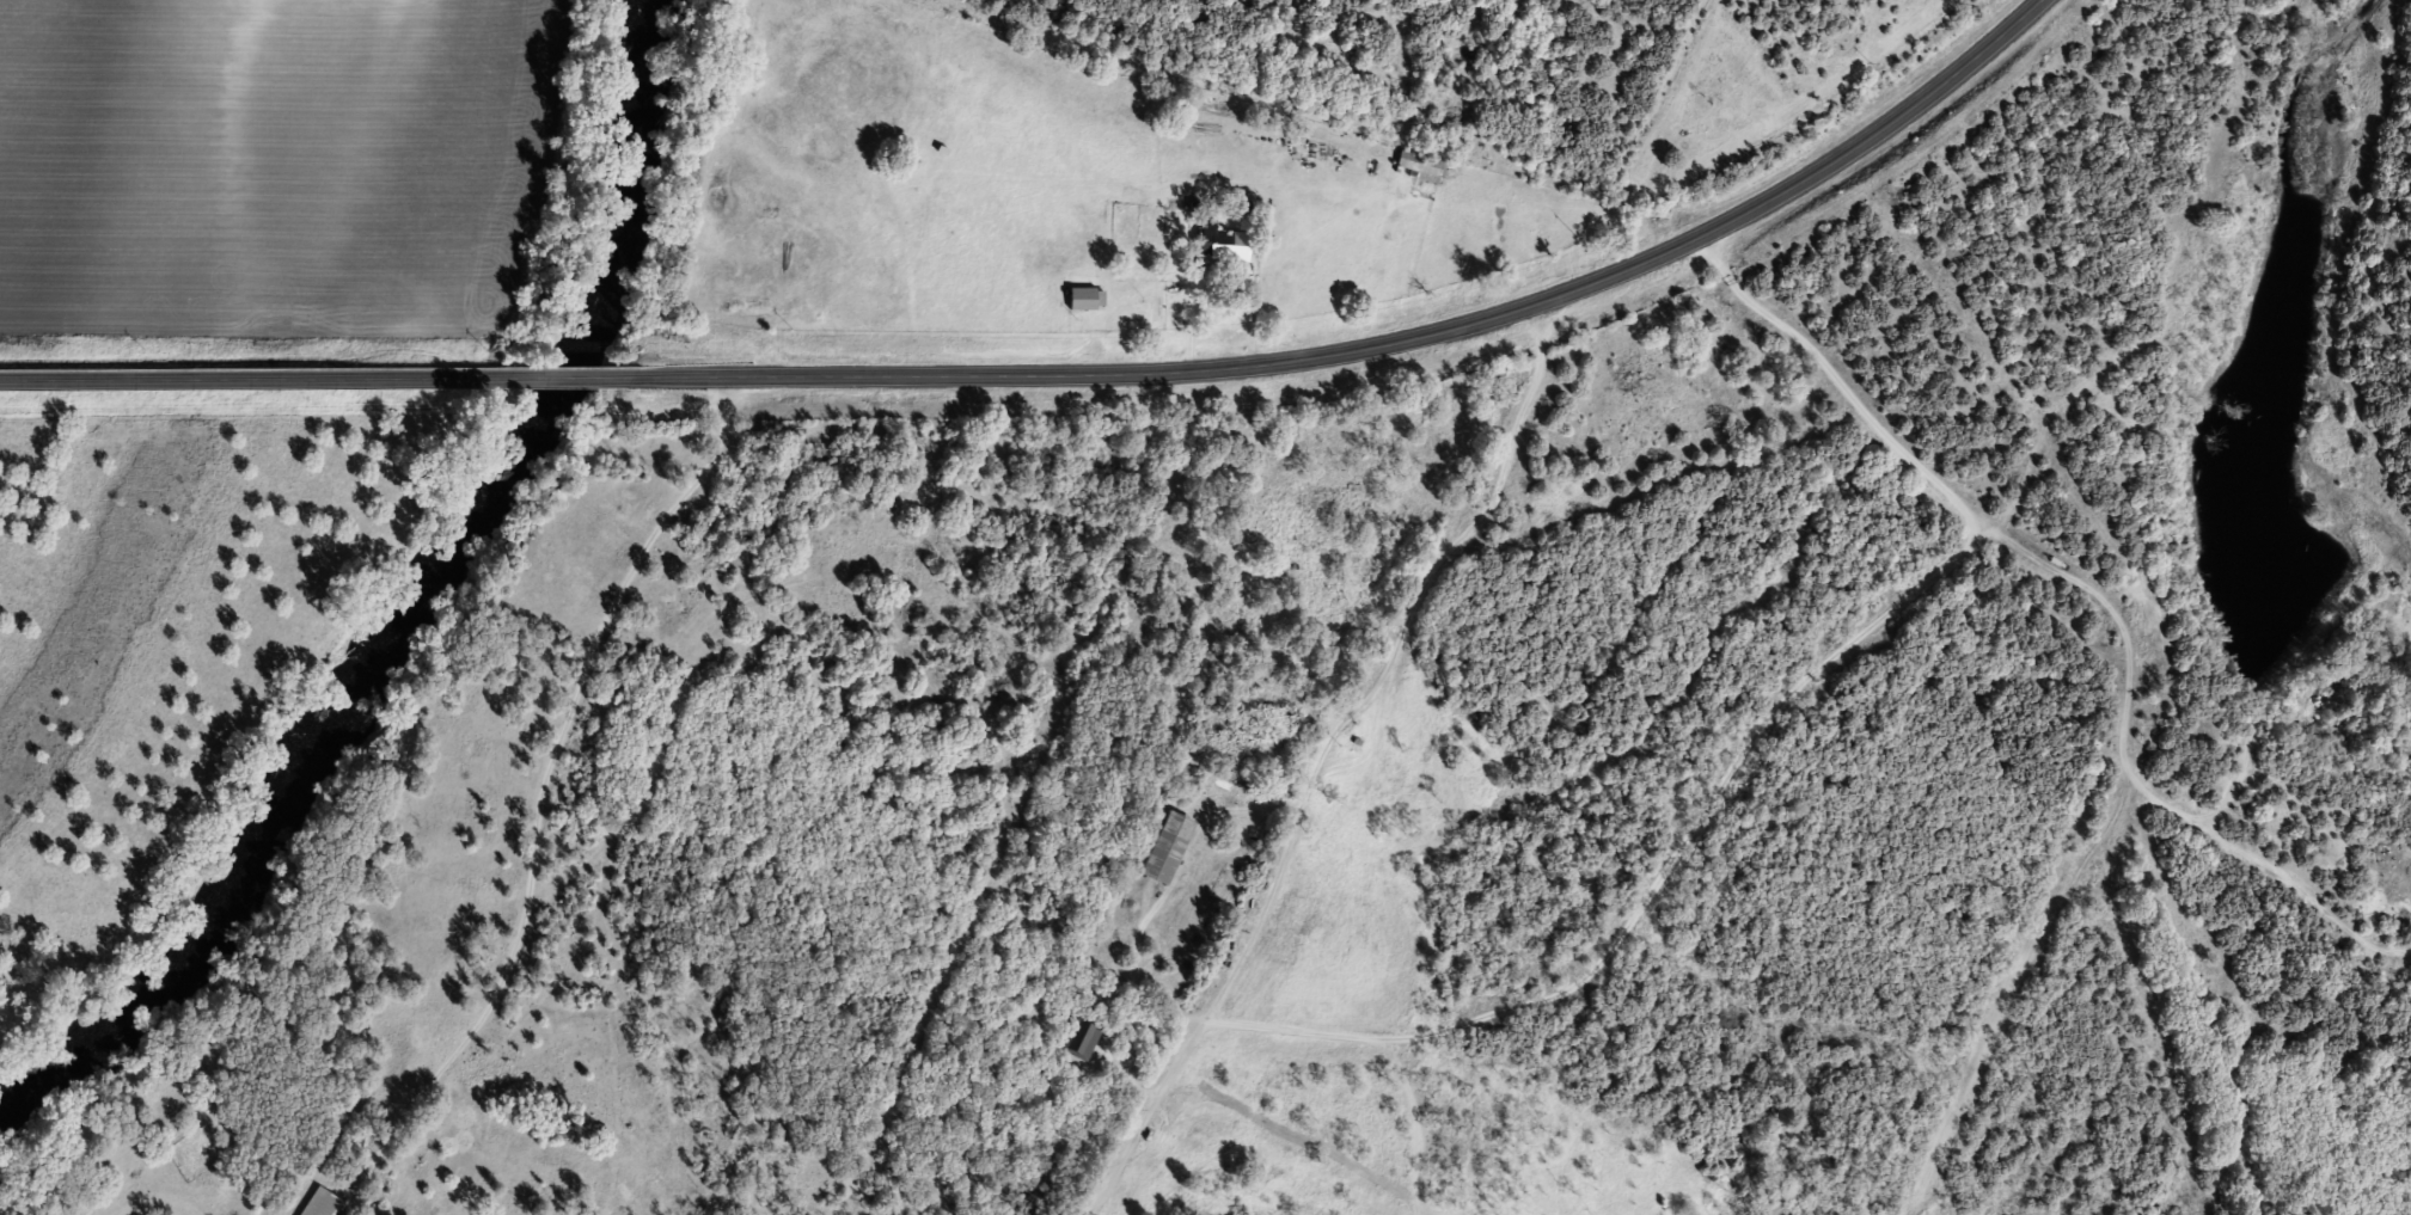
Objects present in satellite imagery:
road: (1630, 109)
building: (1421, 167)
building: (1222, 246)
building: (1089, 301)
road: (1389, 345)
road: (569, 375)
road: (249, 378)
river: (415, 596)
road: (2025, 625)
road: (1295, 761)
road: (534, 774)
building: (1169, 851)
building: (1085, 1039)

